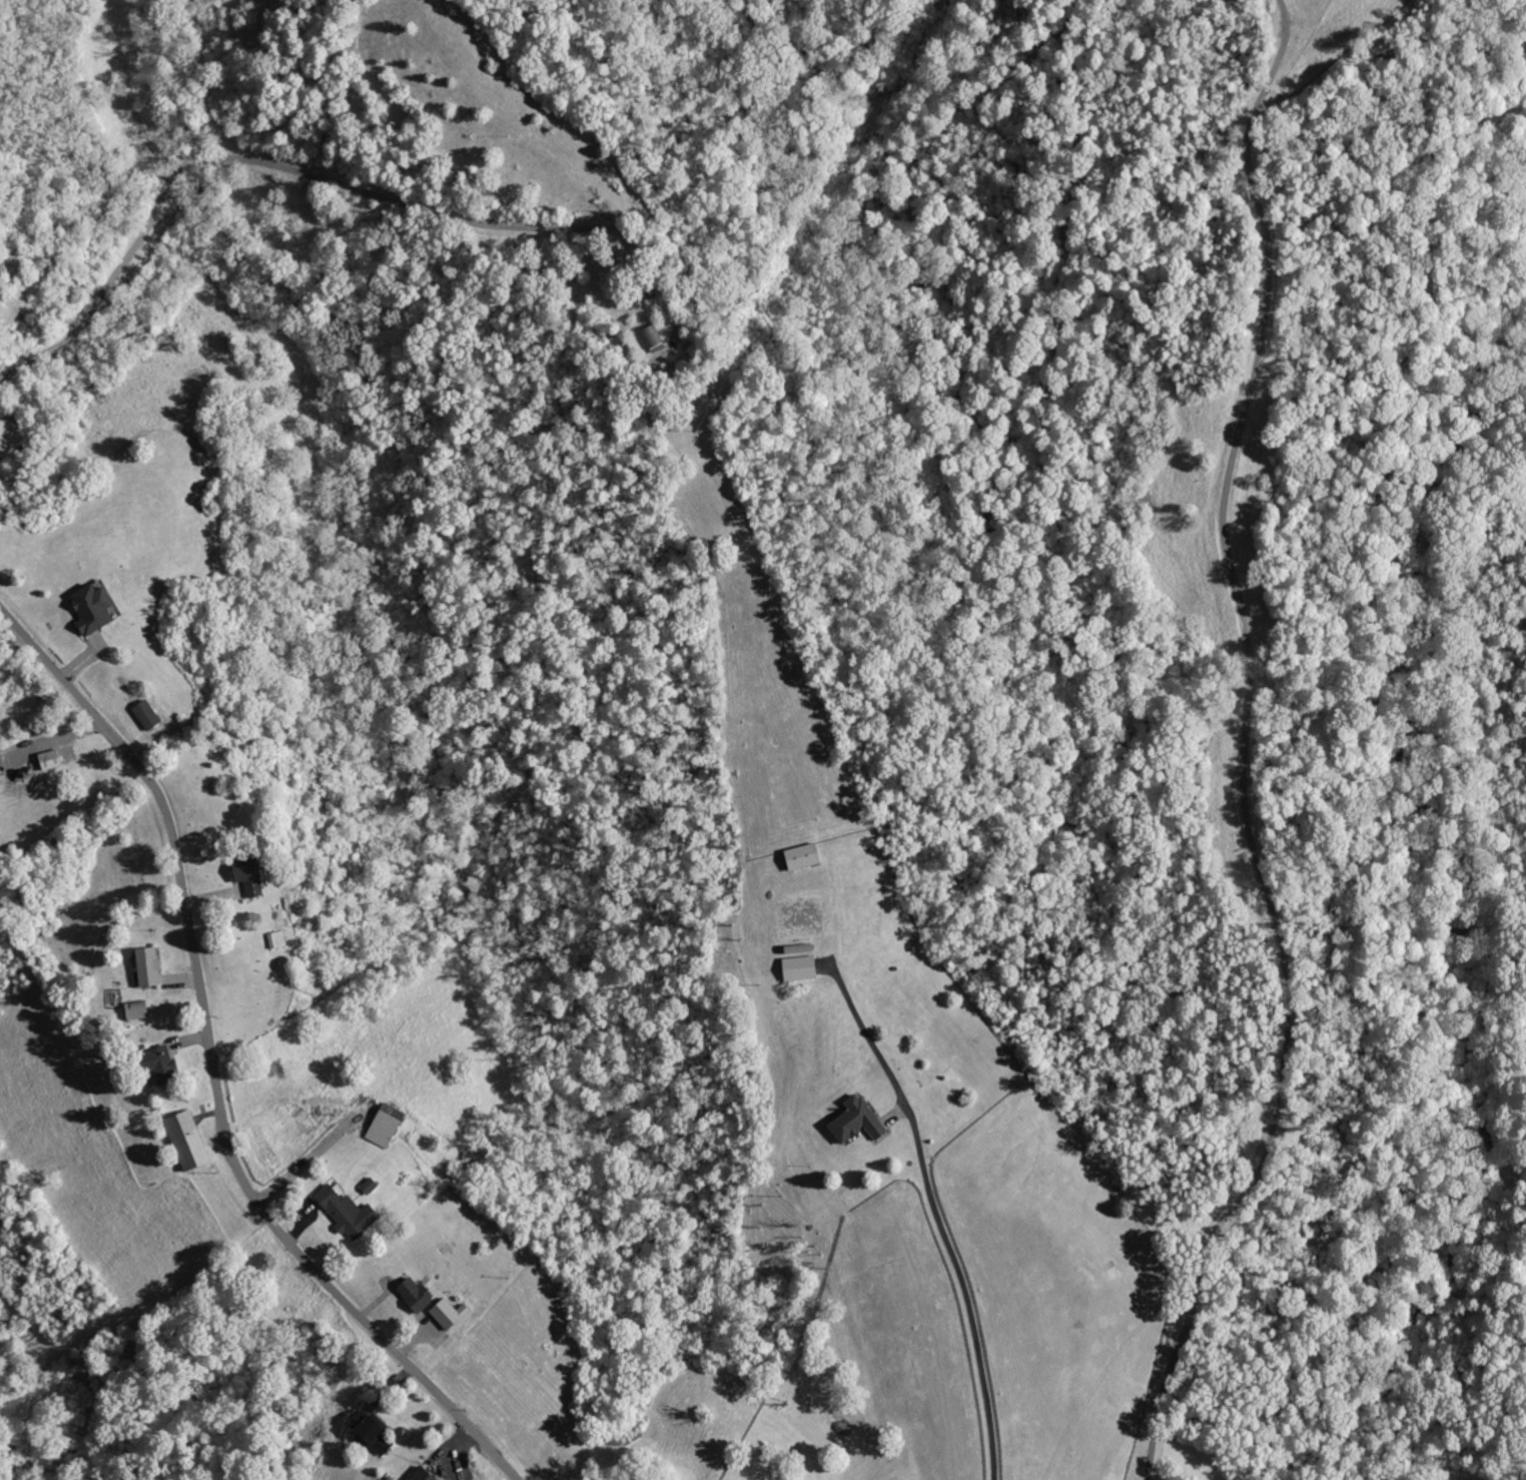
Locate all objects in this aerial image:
road: (358, 189)
road: (603, 261)
building: (654, 336)
building: (638, 410)
building: (96, 611)
road: (88, 654)
building: (149, 713)
road: (54, 741)
building: (53, 758)
building: (805, 857)
building: (254, 876)
building: (278, 940)
building: (149, 965)
building: (801, 968)
building: (141, 1010)
road: (217, 1062)
building: (161, 1063)
road: (897, 1116)
building: (859, 1119)
building: (388, 1125)
building: (190, 1139)
road: (935, 1209)
building: (348, 1211)
building: (416, 1293)
building: (452, 1313)
road: (393, 1387)
building: (370, 1431)
road: (456, 1452)
building: (425, 1474)

